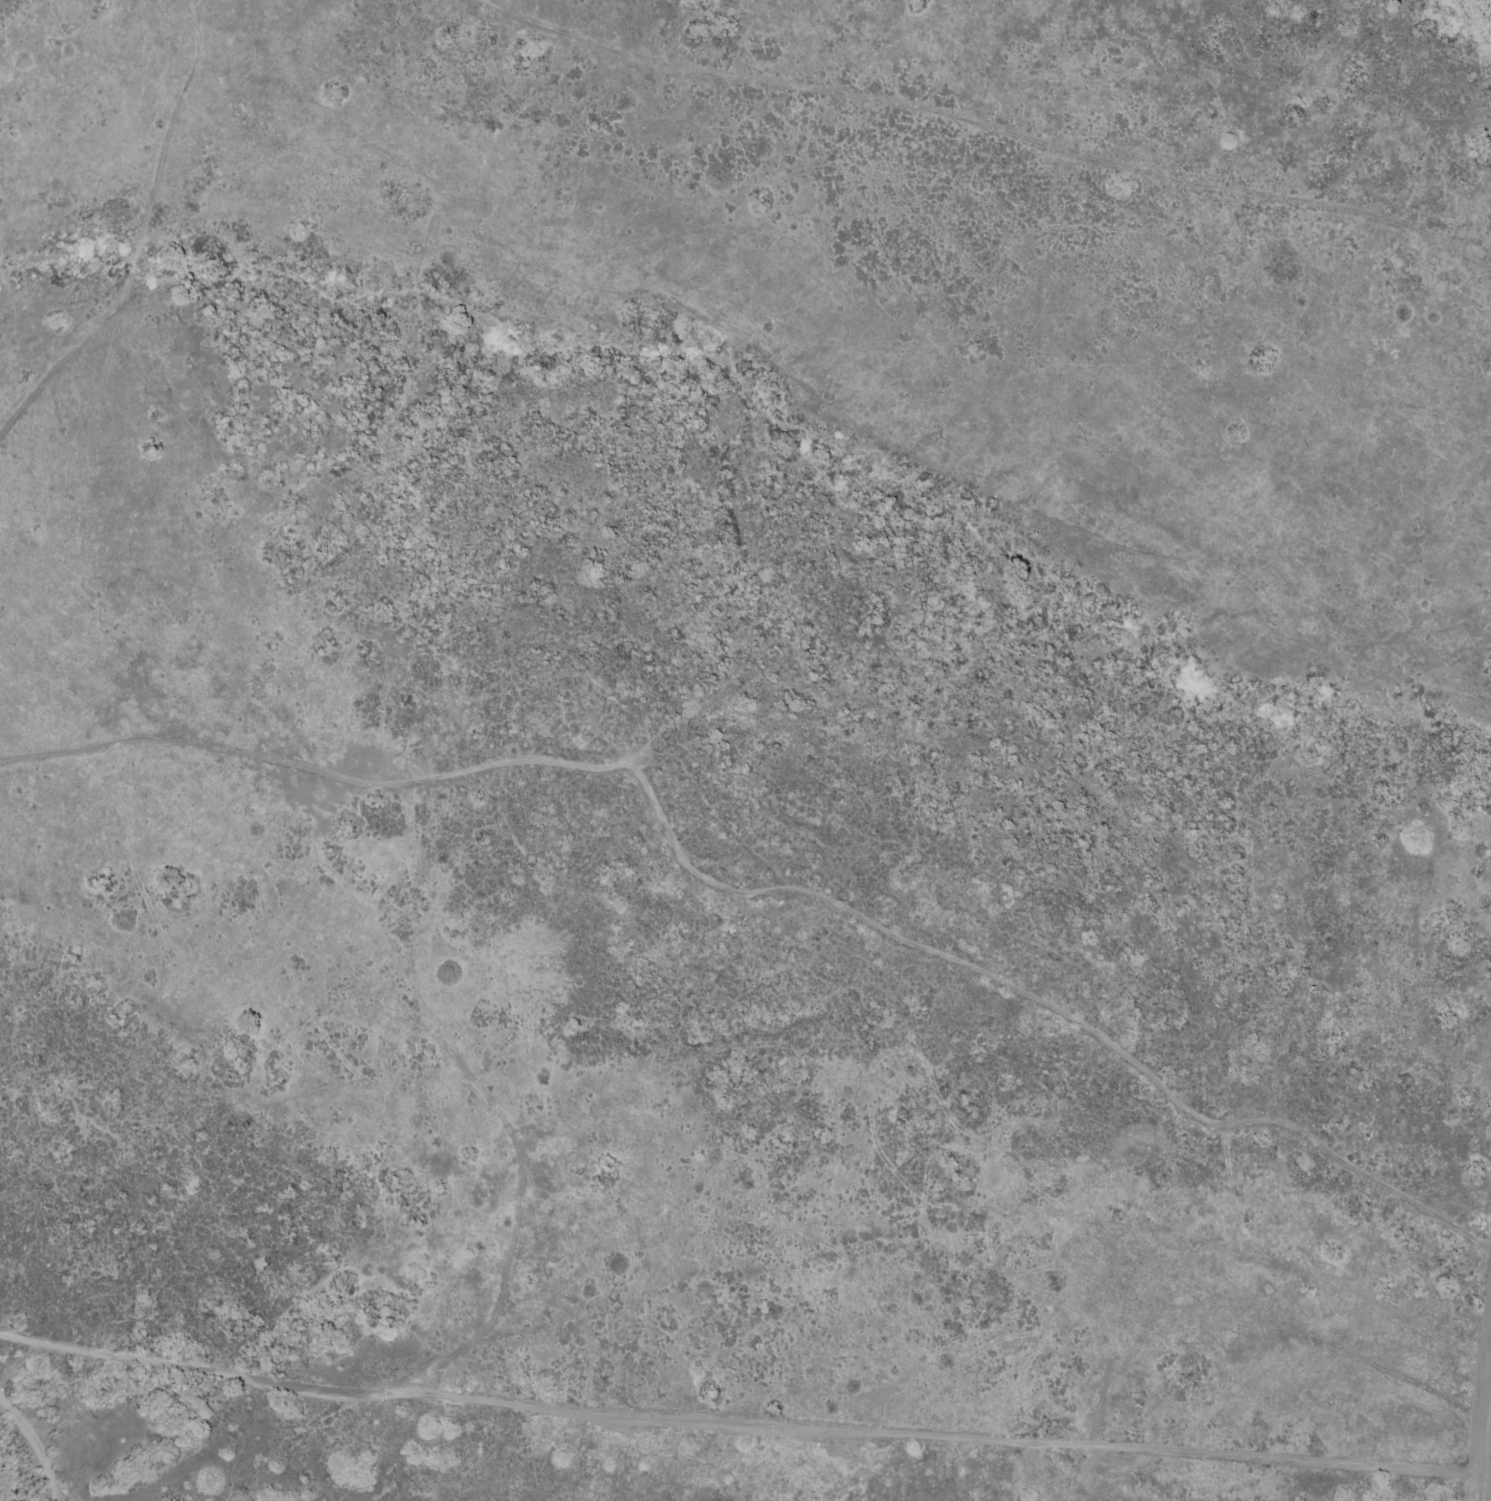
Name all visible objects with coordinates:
road: (1484, 1448)

